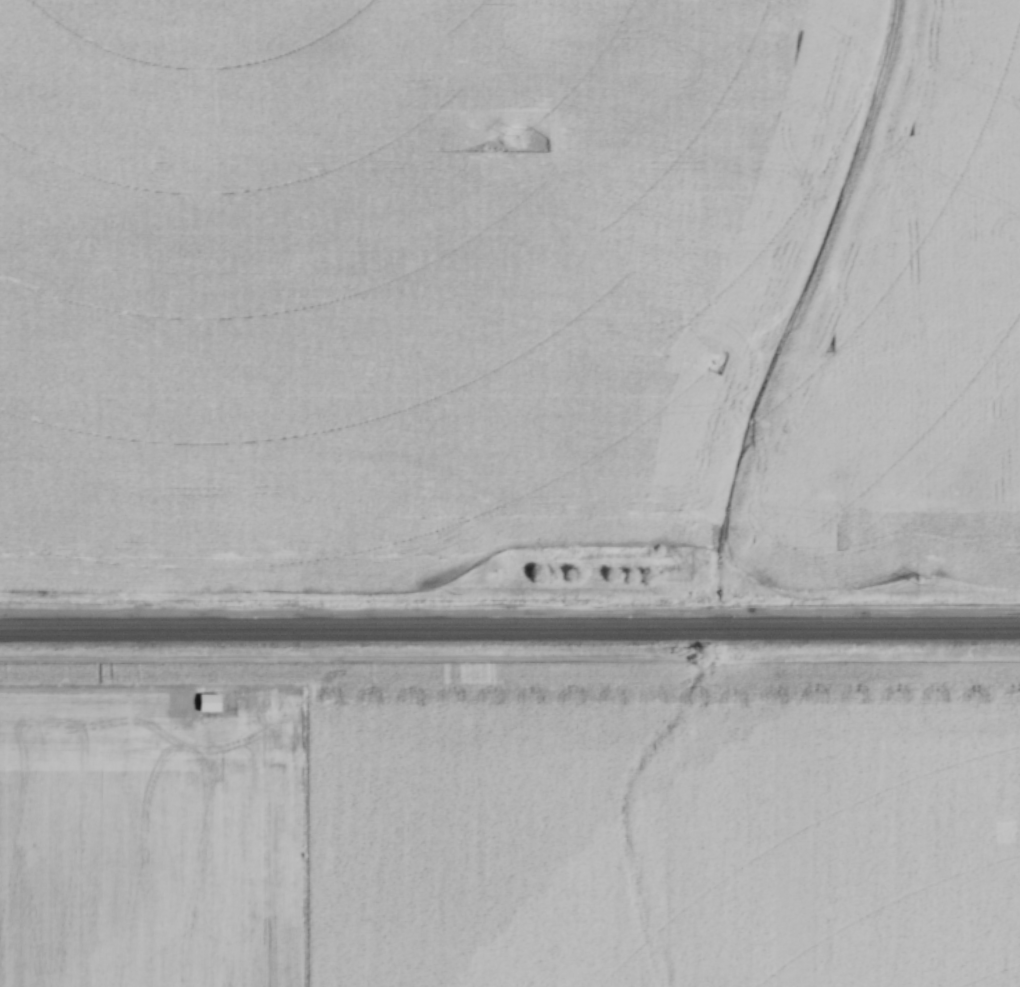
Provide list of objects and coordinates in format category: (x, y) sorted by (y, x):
power tower: (508, 132)
power tower: (920, 582)
railway: (509, 620)
railway: (510, 633)
building: (213, 699)

